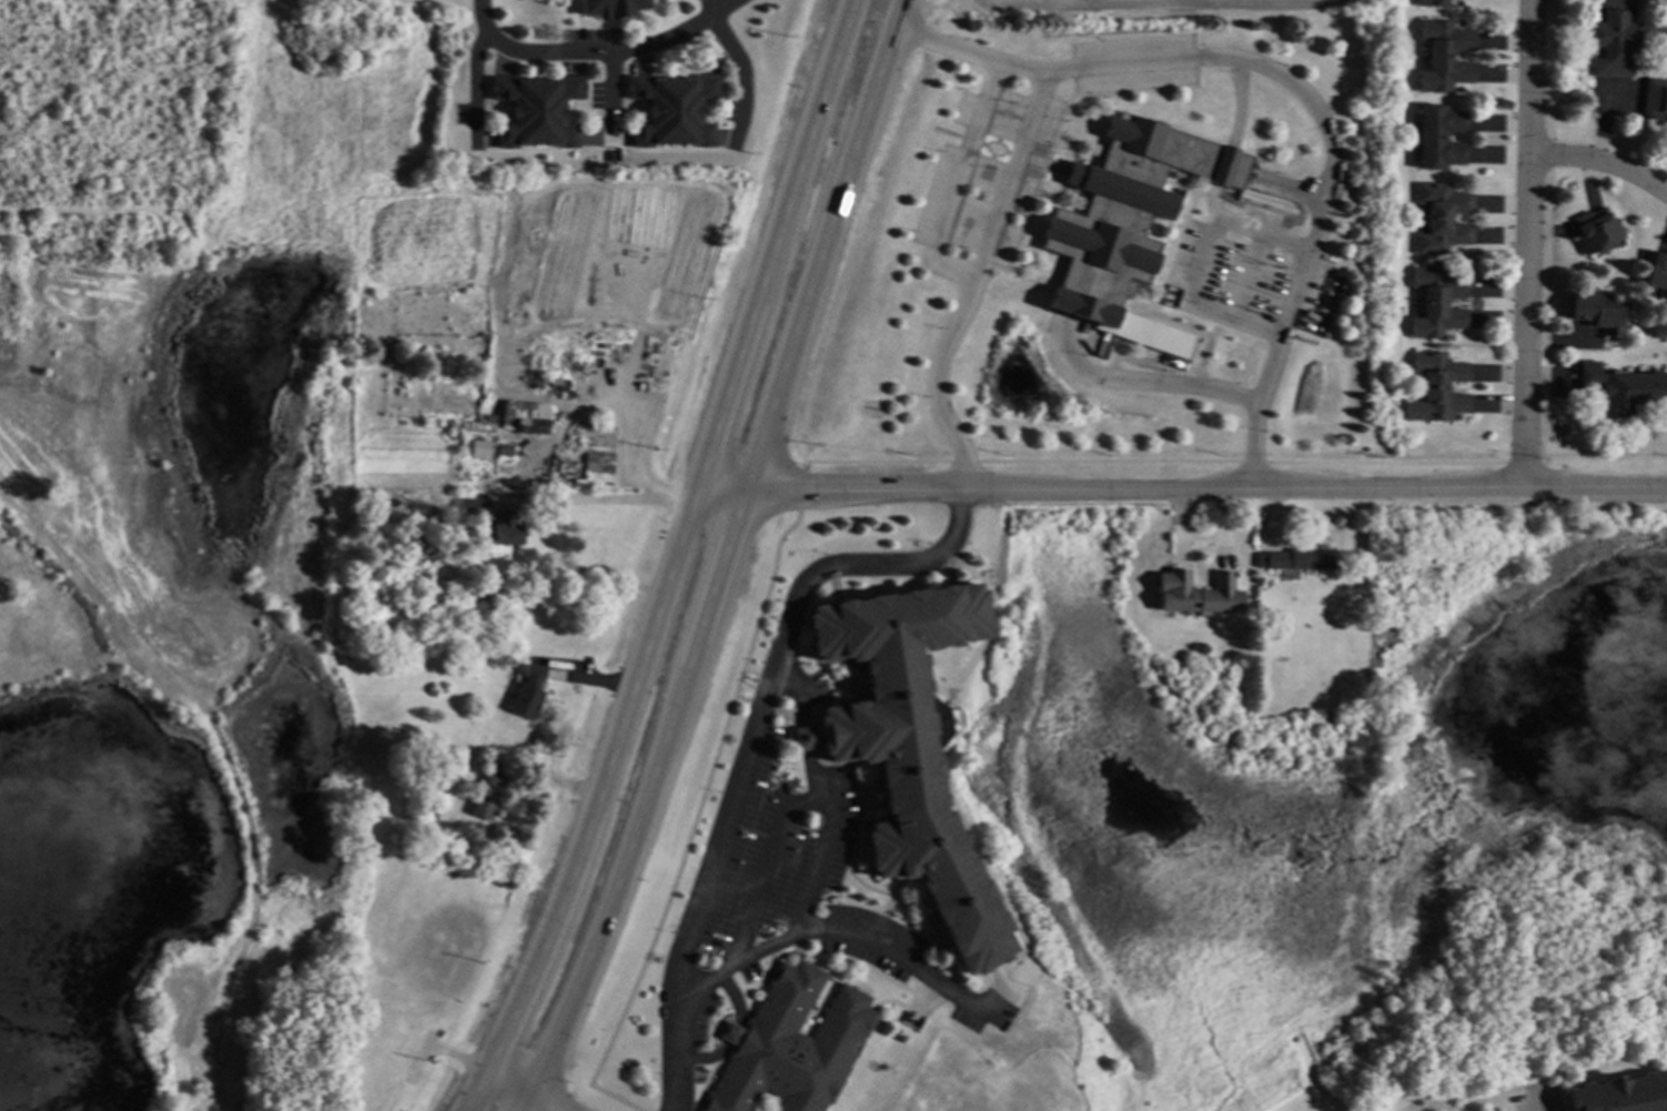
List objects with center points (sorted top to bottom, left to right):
building: (1664, 0)
building: (1431, 2)
building: (609, 7)
crop: (1153, 8)
building: (1612, 37)
road: (595, 51)
road: (968, 53)
building: (1444, 55)
road: (744, 73)
road: (475, 83)
road: (612, 97)
building: (1654, 99)
building: (671, 109)
building: (535, 110)
road: (1604, 111)
building: (1439, 138)
road: (1331, 160)
road: (1605, 162)
building: (1124, 211)
building: (1442, 219)
building: (1596, 232)
road: (1532, 243)
crop: (548, 246)
road: (1201, 263)
building: (1657, 272)
road: (957, 273)
building: (1437, 303)
building: (1598, 311)
road: (936, 378)
road: (1145, 386)
building: (556, 387)
building: (1438, 388)
building: (1621, 391)
building: (528, 421)
building: (484, 427)
building: (476, 448)
building: (503, 451)
building: (525, 451)
building: (596, 457)
road: (636, 467)
crop: (105, 468)
road: (1180, 486)
road: (596, 503)
building: (432, 523)
building: (505, 528)
road: (720, 559)
road: (673, 560)
building: (1293, 560)
building: (1199, 594)
building: (463, 661)
building: (1178, 664)
building: (527, 693)
road: (799, 694)
building: (1269, 711)
road: (751, 737)
road: (807, 741)
building: (906, 748)
building: (487, 794)
building: (435, 816)
road: (762, 873)
road: (805, 906)
road: (889, 950)
road: (735, 1000)
road: (730, 1038)
building: (790, 1046)
road: (704, 1061)
road: (522, 1091)
building: (1621, 1094)

